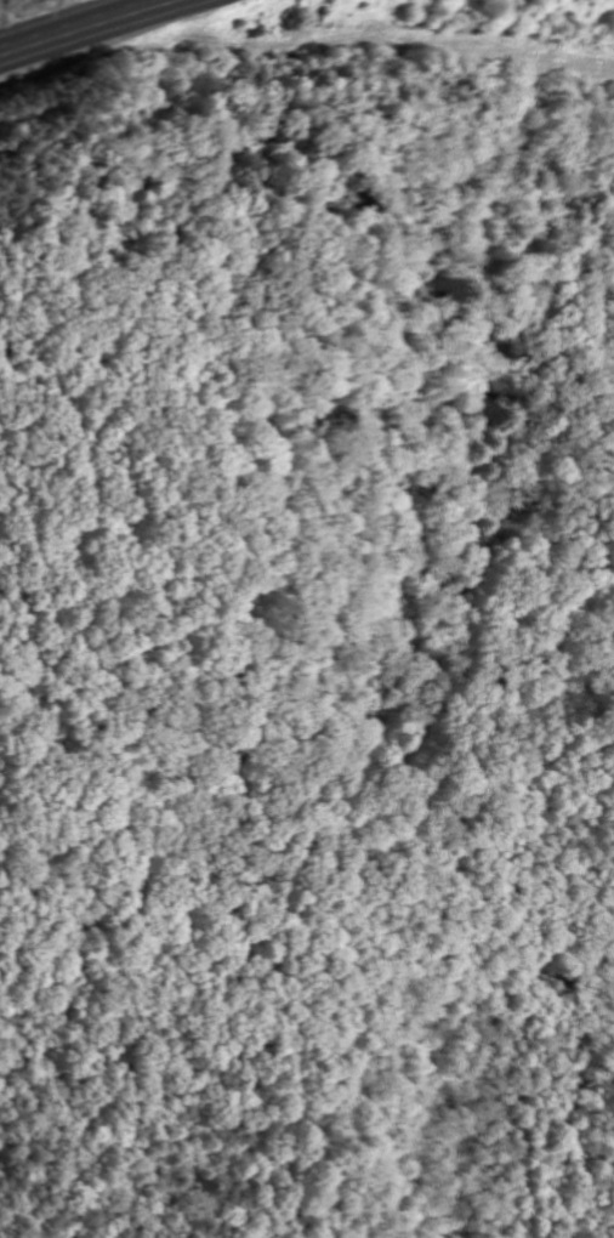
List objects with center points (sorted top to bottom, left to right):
road: (93, 30)

